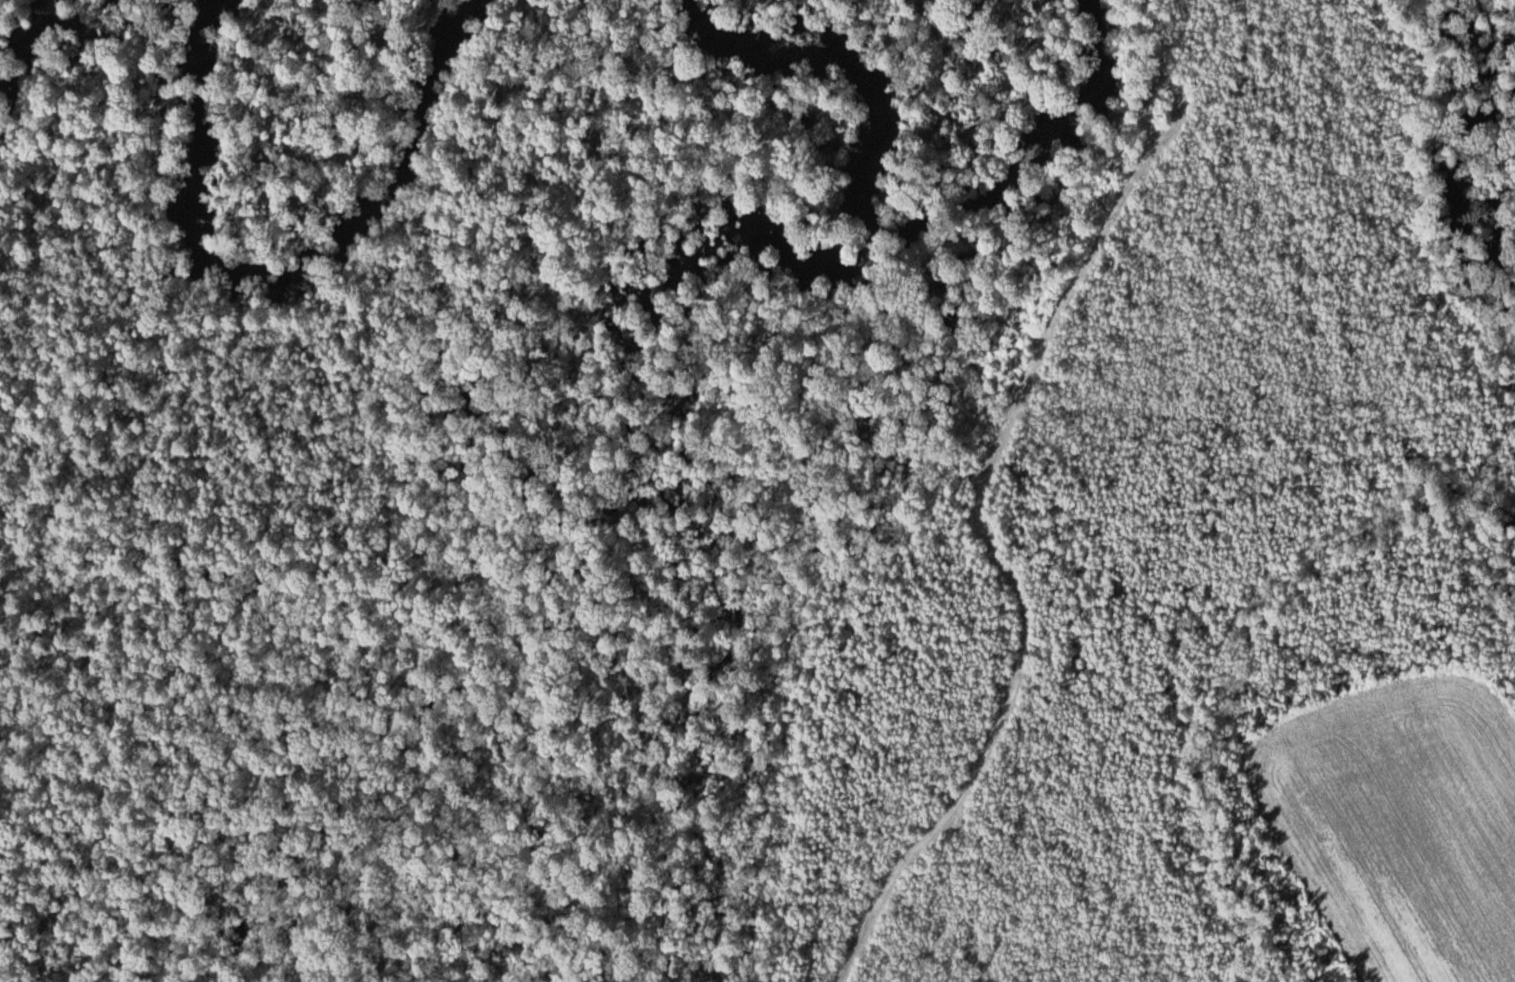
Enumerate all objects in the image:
river: (805, 101)
river: (1049, 180)
river: (267, 300)

